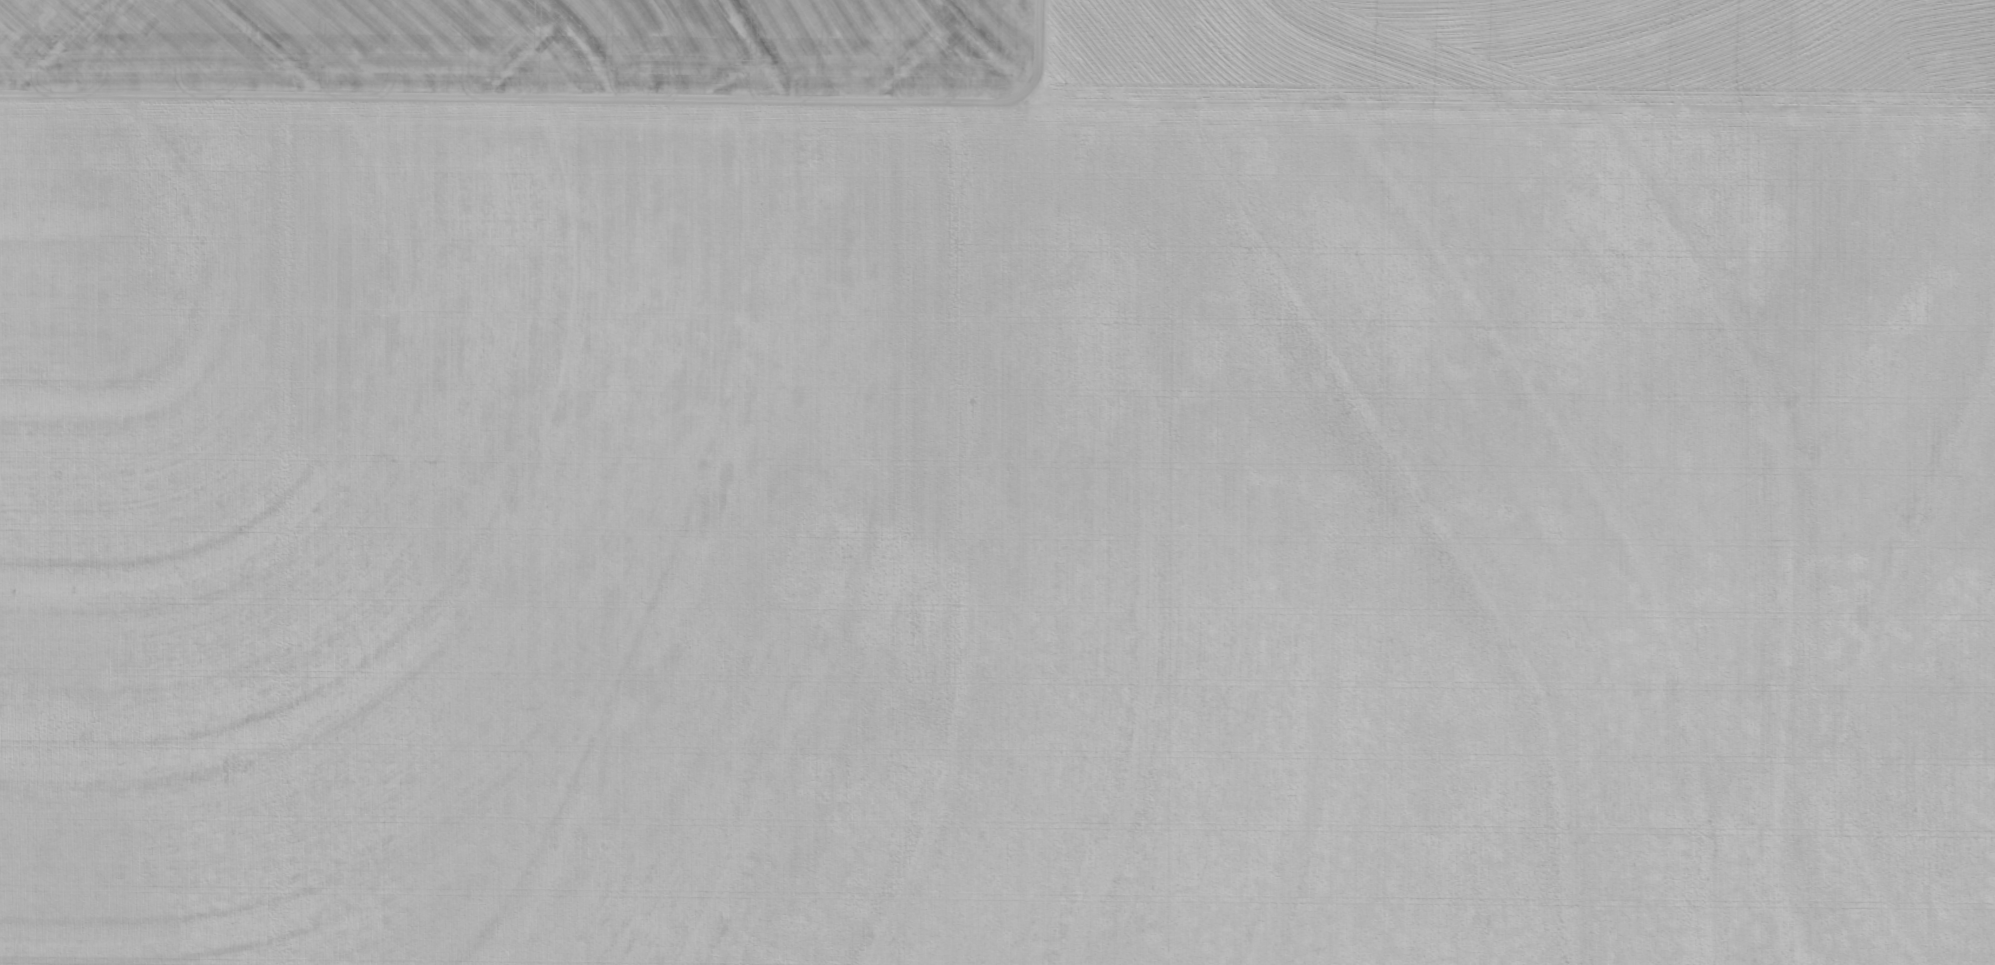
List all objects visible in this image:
road: (48, 68)

